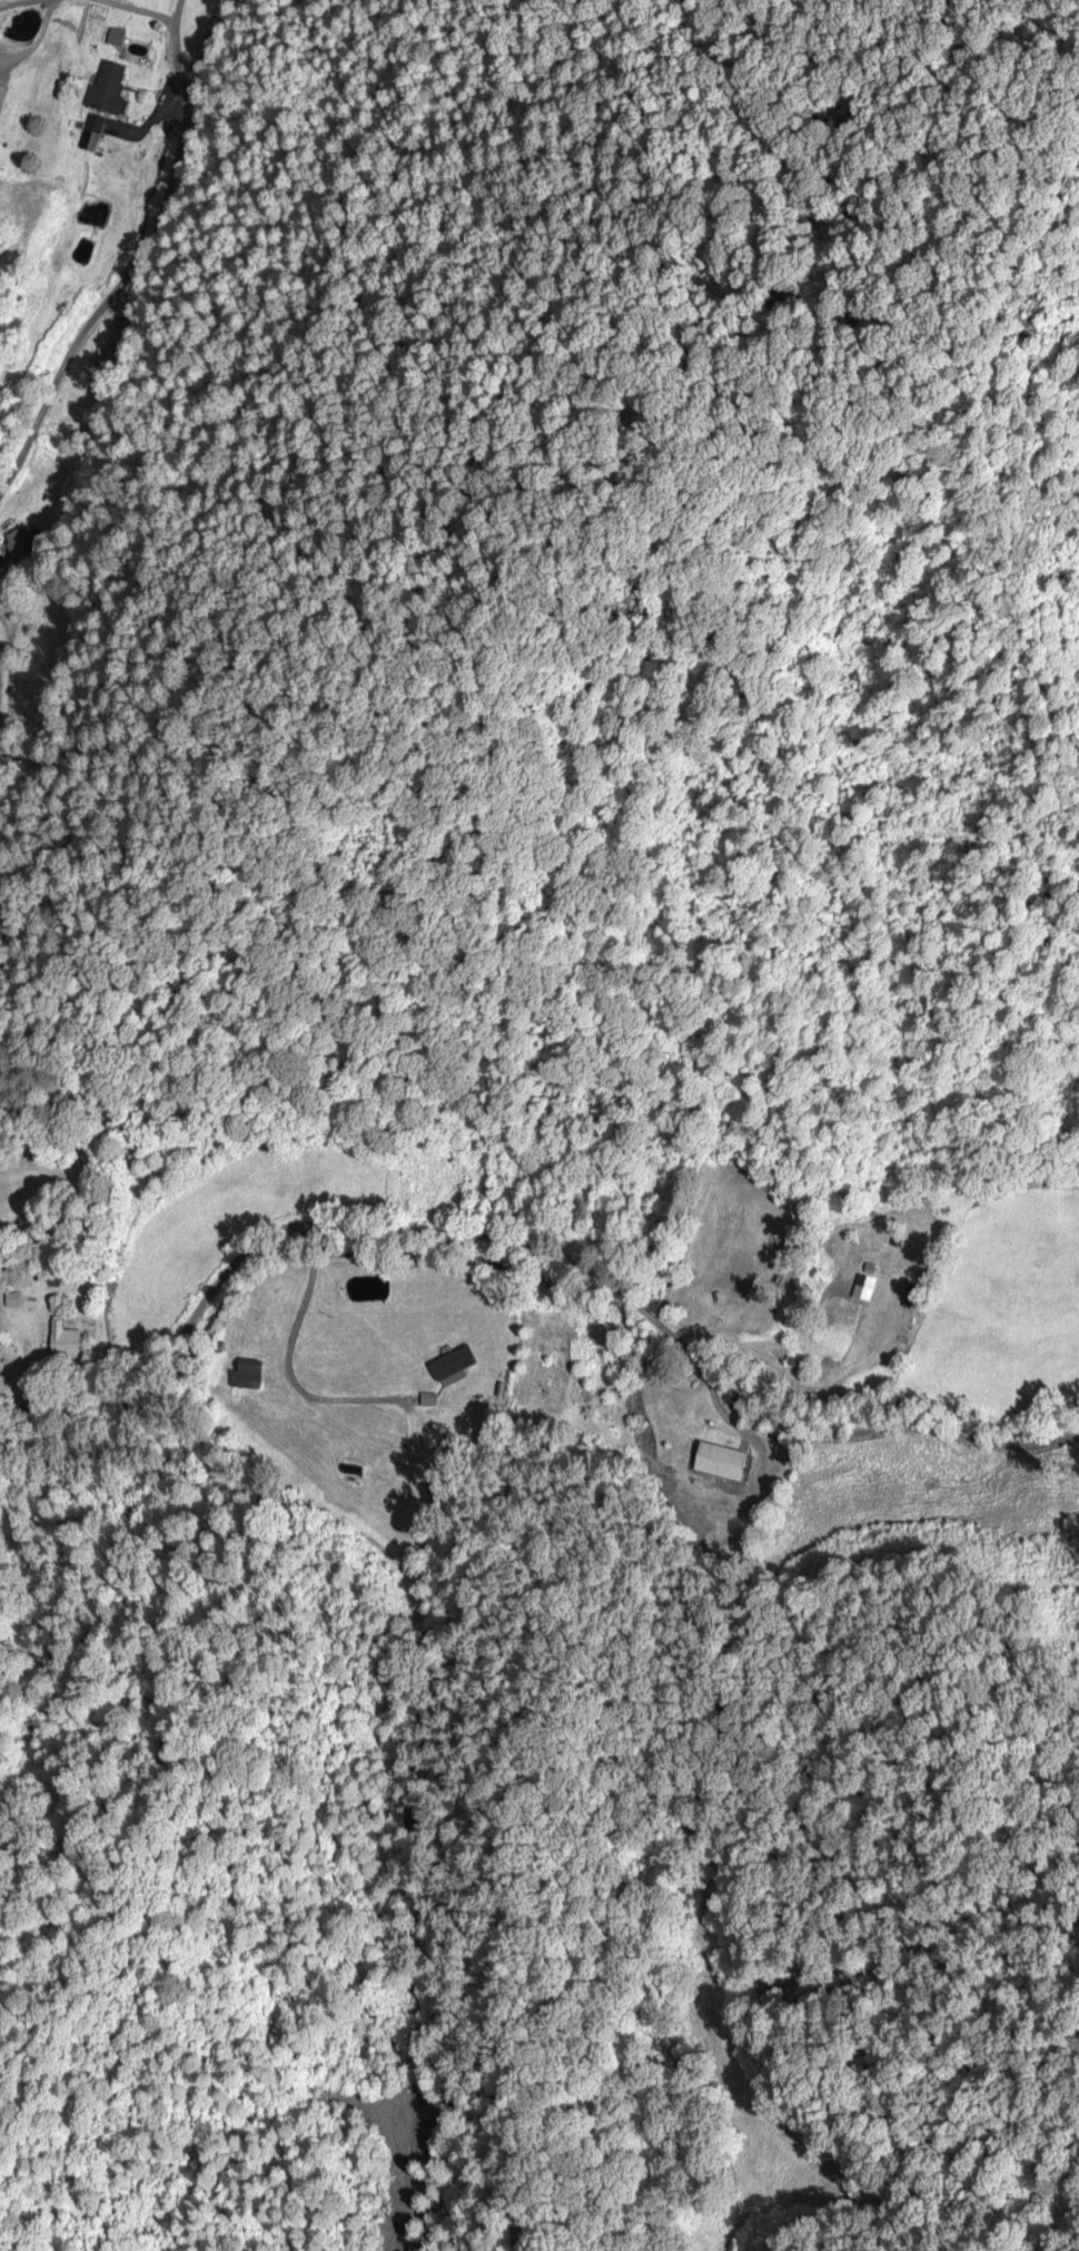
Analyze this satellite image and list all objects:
building: (109, 89)
building: (2, 96)
building: (95, 127)
road: (133, 261)
building: (23, 545)
road: (320, 1225)
building: (914, 1297)
building: (66, 1339)
building: (255, 1349)
building: (782, 1350)
road: (693, 1357)
building: (454, 1364)
road: (287, 1366)
building: (248, 1376)
road: (736, 1419)
road: (882, 1428)
building: (724, 1462)
building: (422, 1471)

